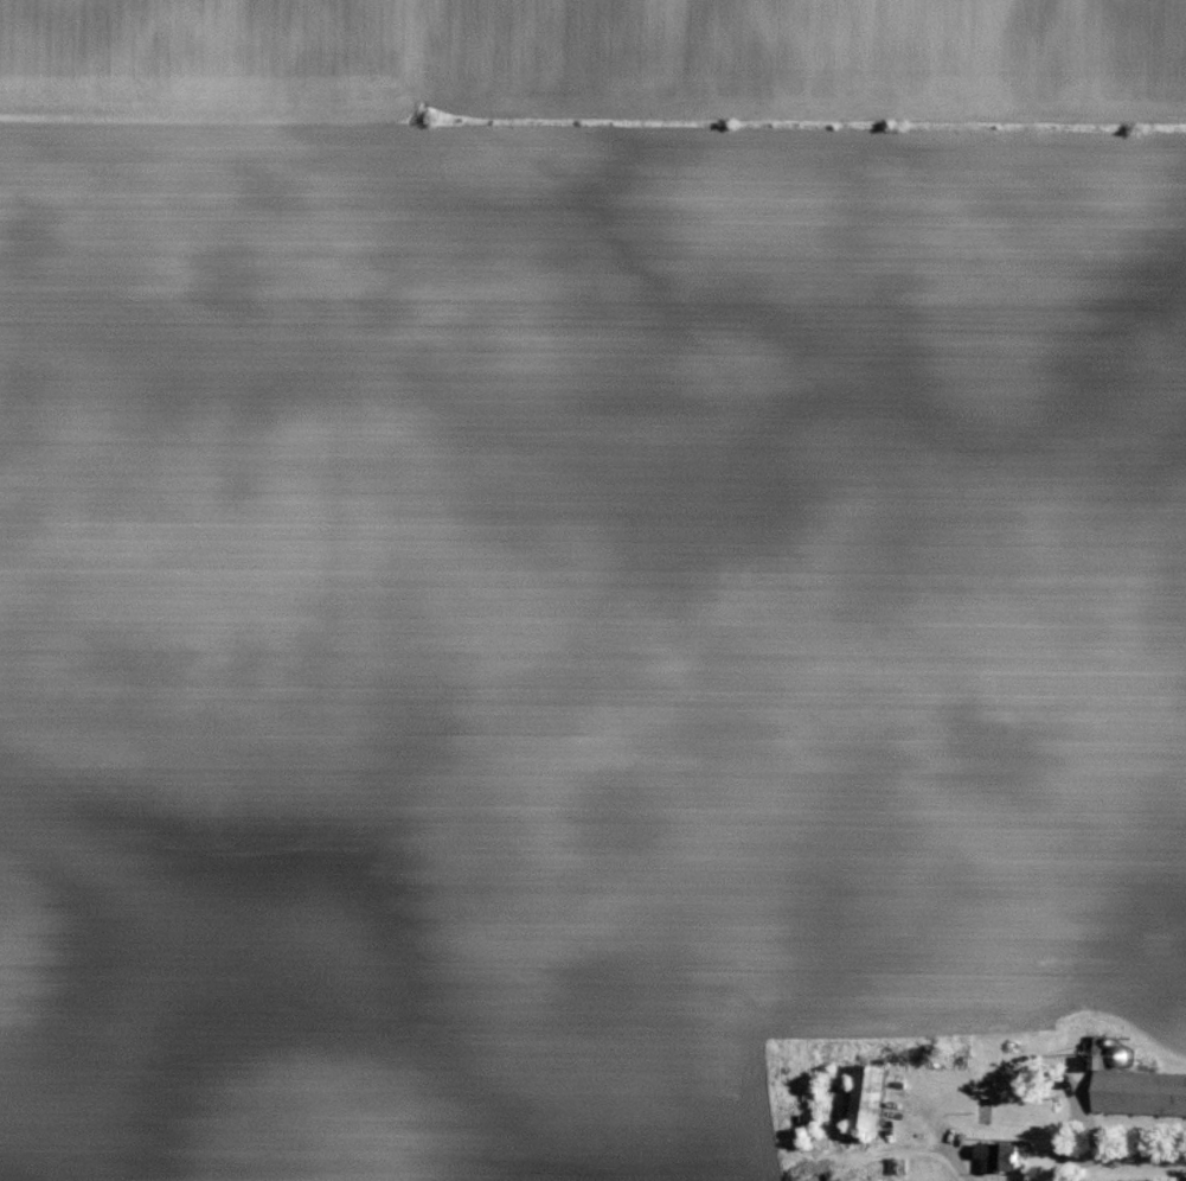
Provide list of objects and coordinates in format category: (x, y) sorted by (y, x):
building: (1139, 1089)
building: (876, 1094)
building: (1002, 1154)
road: (1129, 1163)

